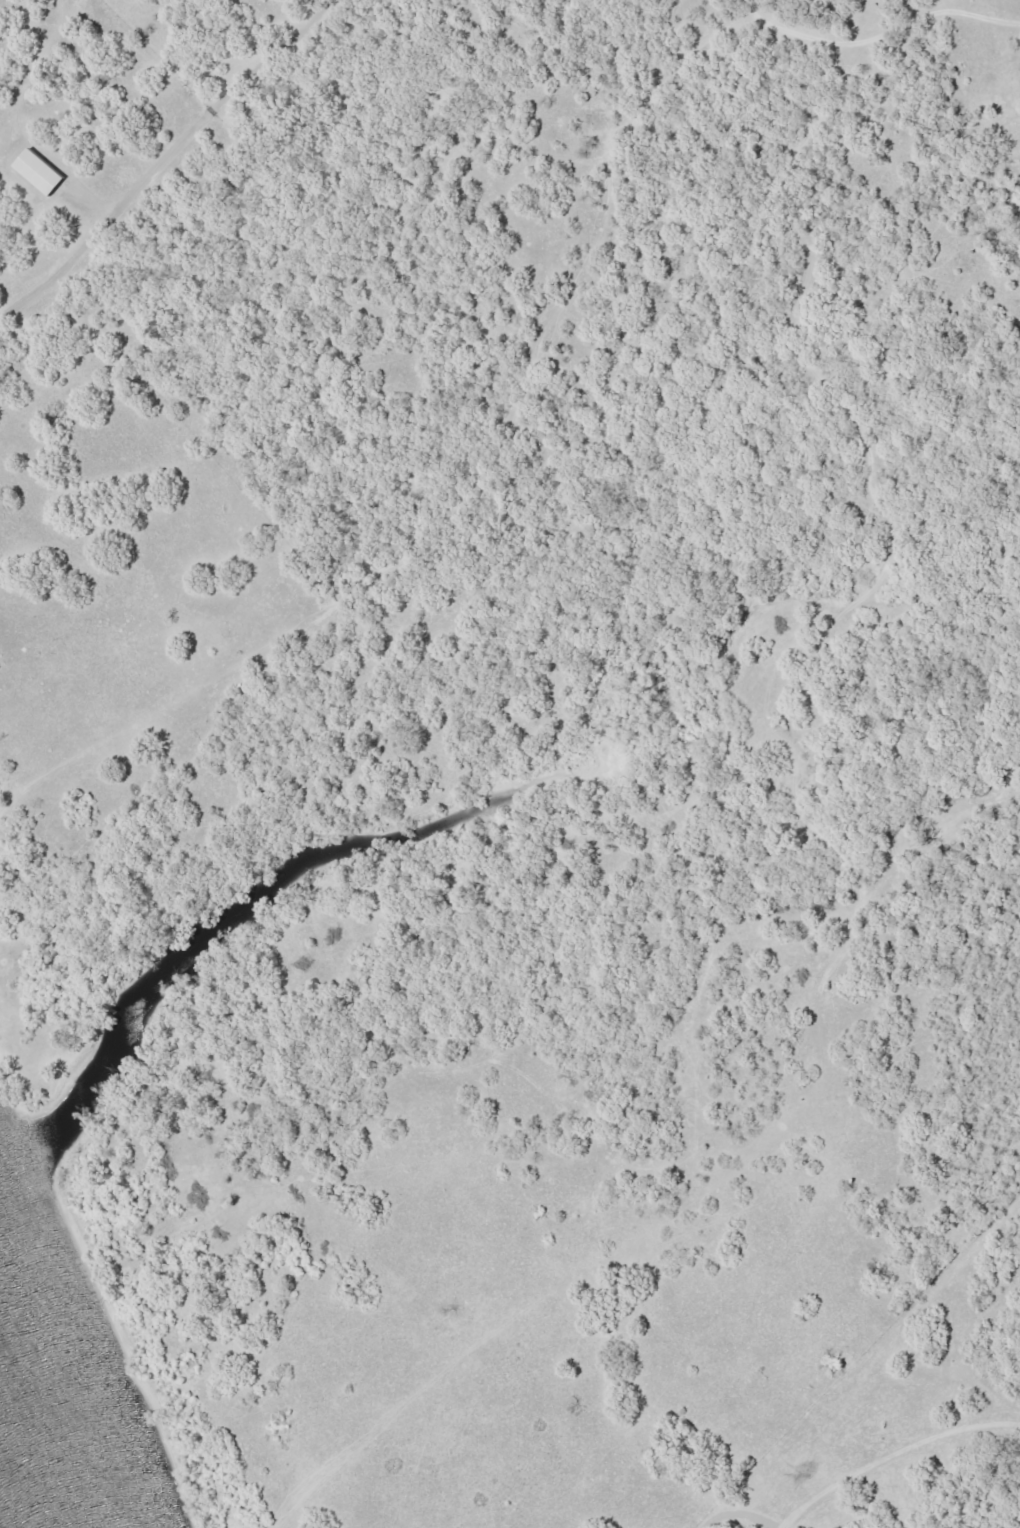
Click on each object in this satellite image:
road: (882, 40)
road: (168, 162)
building: (42, 171)
river: (34, 1449)
road: (893, 1458)

